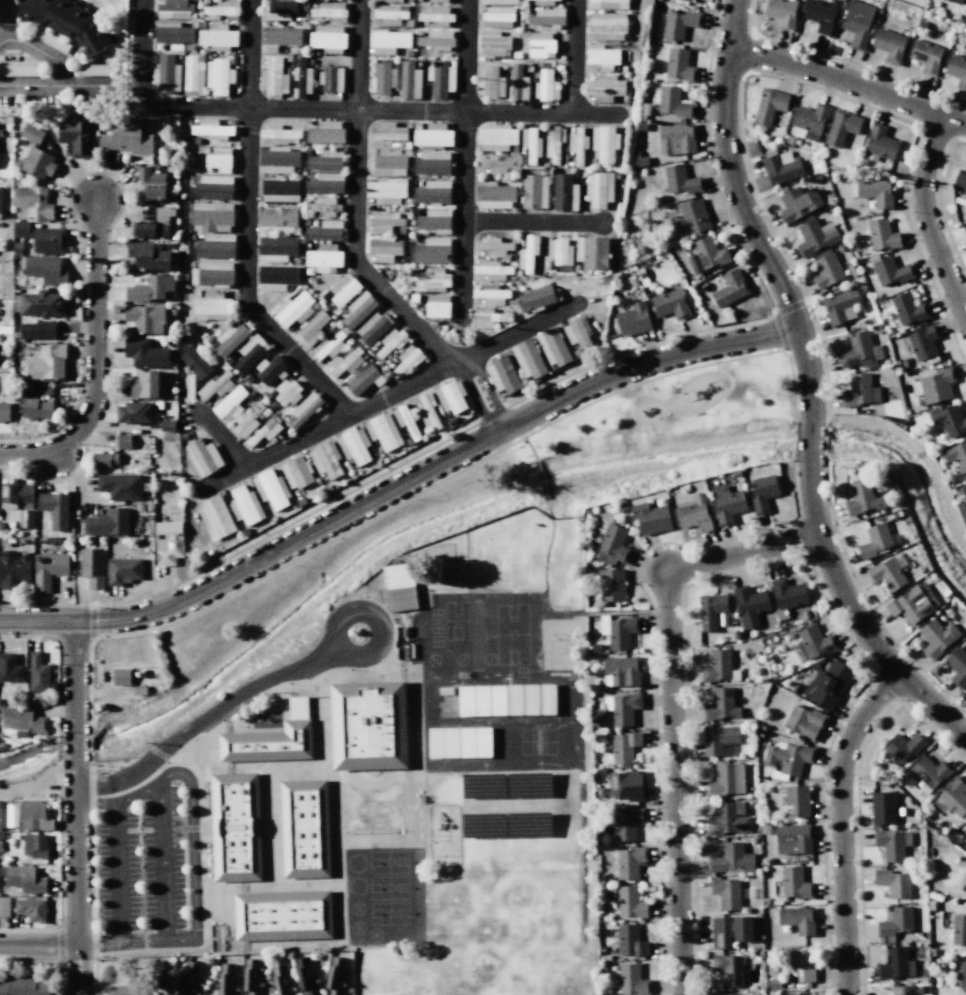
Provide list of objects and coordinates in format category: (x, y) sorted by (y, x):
building: (392, 0)
building: (439, 0)
building: (556, 0)
building: (688, 0)
building: (956, 1)
building: (499, 2)
building: (608, 4)
building: (173, 9)
building: (220, 9)
building: (279, 9)
building: (330, 11)
building: (781, 12)
building: (390, 13)
building: (819, 15)
building: (437, 16)
building: (498, 17)
building: (547, 17)
road: (7, 19)
building: (69, 21)
building: (679, 22)
building: (857, 23)
building: (607, 25)
building: (172, 33)
building: (217, 37)
building: (281, 37)
building: (327, 38)
building: (434, 39)
building: (52, 41)
building: (387, 41)
building: (494, 43)
building: (540, 45)
building: (889, 45)
road: (141, 55)
building: (926, 56)
road: (573, 57)
building: (602, 57)
road: (58, 65)
building: (678, 65)
building: (98, 70)
building: (957, 70)
building: (20, 71)
building: (166, 74)
building: (192, 76)
building: (218, 76)
building: (273, 78)
building: (331, 78)
building: (301, 79)
building: (382, 79)
building: (440, 79)
building: (409, 81)
road: (849, 81)
building: (490, 82)
road: (31, 85)
building: (517, 85)
building: (545, 86)
building: (604, 88)
building: (672, 102)
building: (768, 106)
road: (388, 109)
building: (811, 120)
building: (641, 126)
building: (841, 127)
building: (211, 129)
building: (387, 131)
building: (325, 132)
building: (280, 135)
building: (433, 135)
building: (77, 137)
building: (496, 137)
building: (676, 139)
building: (127, 140)
building: (604, 143)
building: (530, 144)
building: (553, 144)
building: (878, 144)
building: (577, 145)
building: (35, 153)
building: (218, 159)
road: (464, 159)
building: (278, 160)
building: (325, 160)
building: (639, 160)
building: (432, 163)
building: (387, 165)
building: (493, 165)
building: (781, 169)
building: (681, 180)
building: (960, 180)
building: (151, 183)
building: (325, 183)
building: (213, 187)
building: (599, 189)
building: (279, 190)
building: (386, 190)
building: (533, 191)
building: (432, 192)
building: (876, 192)
building: (564, 193)
building: (494, 195)
building: (0, 199)
road: (354, 201)
building: (33, 203)
building: (798, 203)
building: (325, 205)
building: (694, 214)
road: (744, 215)
building: (211, 216)
building: (276, 220)
road: (926, 220)
building: (435, 221)
building: (385, 222)
road: (532, 222)
building: (153, 224)
road: (246, 227)
building: (827, 228)
building: (324, 231)
building: (882, 234)
building: (965, 235)
building: (41, 237)
building: (813, 238)
building: (215, 246)
building: (492, 246)
building: (275, 248)
building: (384, 249)
building: (432, 251)
building: (560, 252)
building: (592, 252)
building: (527, 254)
building: (706, 255)
building: (148, 256)
building: (323, 258)
building: (45, 269)
building: (826, 269)
building: (493, 270)
building: (892, 271)
building: (212, 273)
building: (276, 278)
building: (433, 279)
building: (150, 288)
building: (730, 289)
building: (343, 290)
building: (490, 294)
building: (536, 298)
building: (41, 304)
building: (670, 304)
building: (838, 305)
building: (212, 306)
building: (437, 306)
building: (291, 308)
building: (358, 309)
building: (908, 309)
building: (488, 317)
building: (145, 318)
building: (633, 319)
building: (372, 328)
building: (38, 330)
building: (310, 330)
building: (577, 332)
building: (229, 338)
building: (922, 341)
building: (328, 346)
building: (859, 351)
building: (144, 352)
building: (249, 353)
road: (96, 359)
building: (528, 359)
building: (48, 362)
building: (194, 362)
building: (345, 365)
building: (263, 373)
building: (503, 374)
building: (362, 380)
building: (145, 384)
building: (937, 385)
building: (215, 386)
road: (647, 389)
road: (488, 390)
building: (859, 391)
road: (388, 395)
road: (475, 396)
building: (450, 398)
building: (229, 403)
building: (37, 407)
building: (304, 409)
building: (4, 411)
building: (428, 411)
building: (133, 412)
building: (405, 420)
building: (949, 420)
road: (653, 423)
building: (168, 425)
building: (383, 431)
building: (264, 432)
road: (810, 438)
road: (223, 439)
building: (123, 442)
building: (354, 445)
road: (530, 449)
building: (956, 455)
building: (203, 457)
building: (104, 460)
building: (326, 460)
building: (296, 472)
road: (541, 480)
road: (399, 483)
building: (120, 486)
building: (271, 489)
building: (964, 489)
building: (763, 493)
building: (16, 495)
building: (862, 498)
building: (727, 504)
building: (245, 505)
road: (550, 507)
park: (494, 508)
building: (54, 509)
building: (961, 513)
building: (694, 515)
building: (21, 518)
building: (215, 518)
building: (651, 518)
building: (107, 522)
building: (168, 541)
building: (875, 541)
building: (614, 544)
building: (92, 567)
building: (14, 569)
building: (48, 569)
building: (123, 570)
building: (886, 574)
building: (610, 584)
building: (399, 587)
building: (788, 593)
building: (912, 603)
building: (750, 605)
building: (710, 611)
road: (854, 615)
road: (337, 625)
building: (621, 631)
building: (936, 638)
building: (815, 641)
building: (717, 666)
building: (10, 668)
building: (957, 668)
building: (621, 671)
building: (38, 673)
building: (120, 676)
building: (828, 684)
building: (139, 690)
building: (965, 693)
building: (450, 701)
building: (467, 701)
building: (483, 701)
building: (499, 701)
road: (673, 705)
building: (720, 705)
building: (622, 707)
road: (206, 717)
building: (23, 719)
building: (805, 722)
building: (368, 726)
building: (719, 739)
building: (444, 743)
building: (468, 743)
building: (484, 743)
building: (268, 744)
building: (624, 746)
building: (903, 747)
building: (788, 759)
building: (928, 774)
building: (726, 780)
building: (627, 785)
road: (16, 789)
building: (954, 796)
building: (797, 800)
road: (76, 808)
building: (883, 808)
building: (3, 815)
building: (35, 816)
building: (728, 819)
building: (627, 823)
road: (840, 824)
building: (235, 828)
building: (304, 830)
building: (965, 831)
building: (793, 839)
building: (891, 843)
building: (35, 846)
building: (730, 859)
road: (193, 860)
building: (630, 862)
road: (162, 863)
parking lot: (140, 864)
road: (119, 874)
building: (965, 878)
building: (25, 879)
building: (795, 883)
building: (893, 883)
building: (726, 893)
building: (630, 902)
building: (4, 907)
building: (31, 909)
building: (282, 915)
building: (797, 919)
building: (895, 922)
building: (729, 930)
building: (959, 930)
building: (629, 940)
road: (38, 945)
building: (894, 964)
building: (802, 965)
building: (728, 968)
building: (962, 976)
building: (252, 977)
building: (306, 977)
building: (335, 977)
building: (186, 979)
building: (227, 980)
building: (631, 980)
building: (281, 981)
building: (21, 985)
building: (2, 987)
building: (43, 988)
building: (901, 989)
road: (108, 992)
building: (723, 993)
building: (735, 994)
building: (796, 994)

